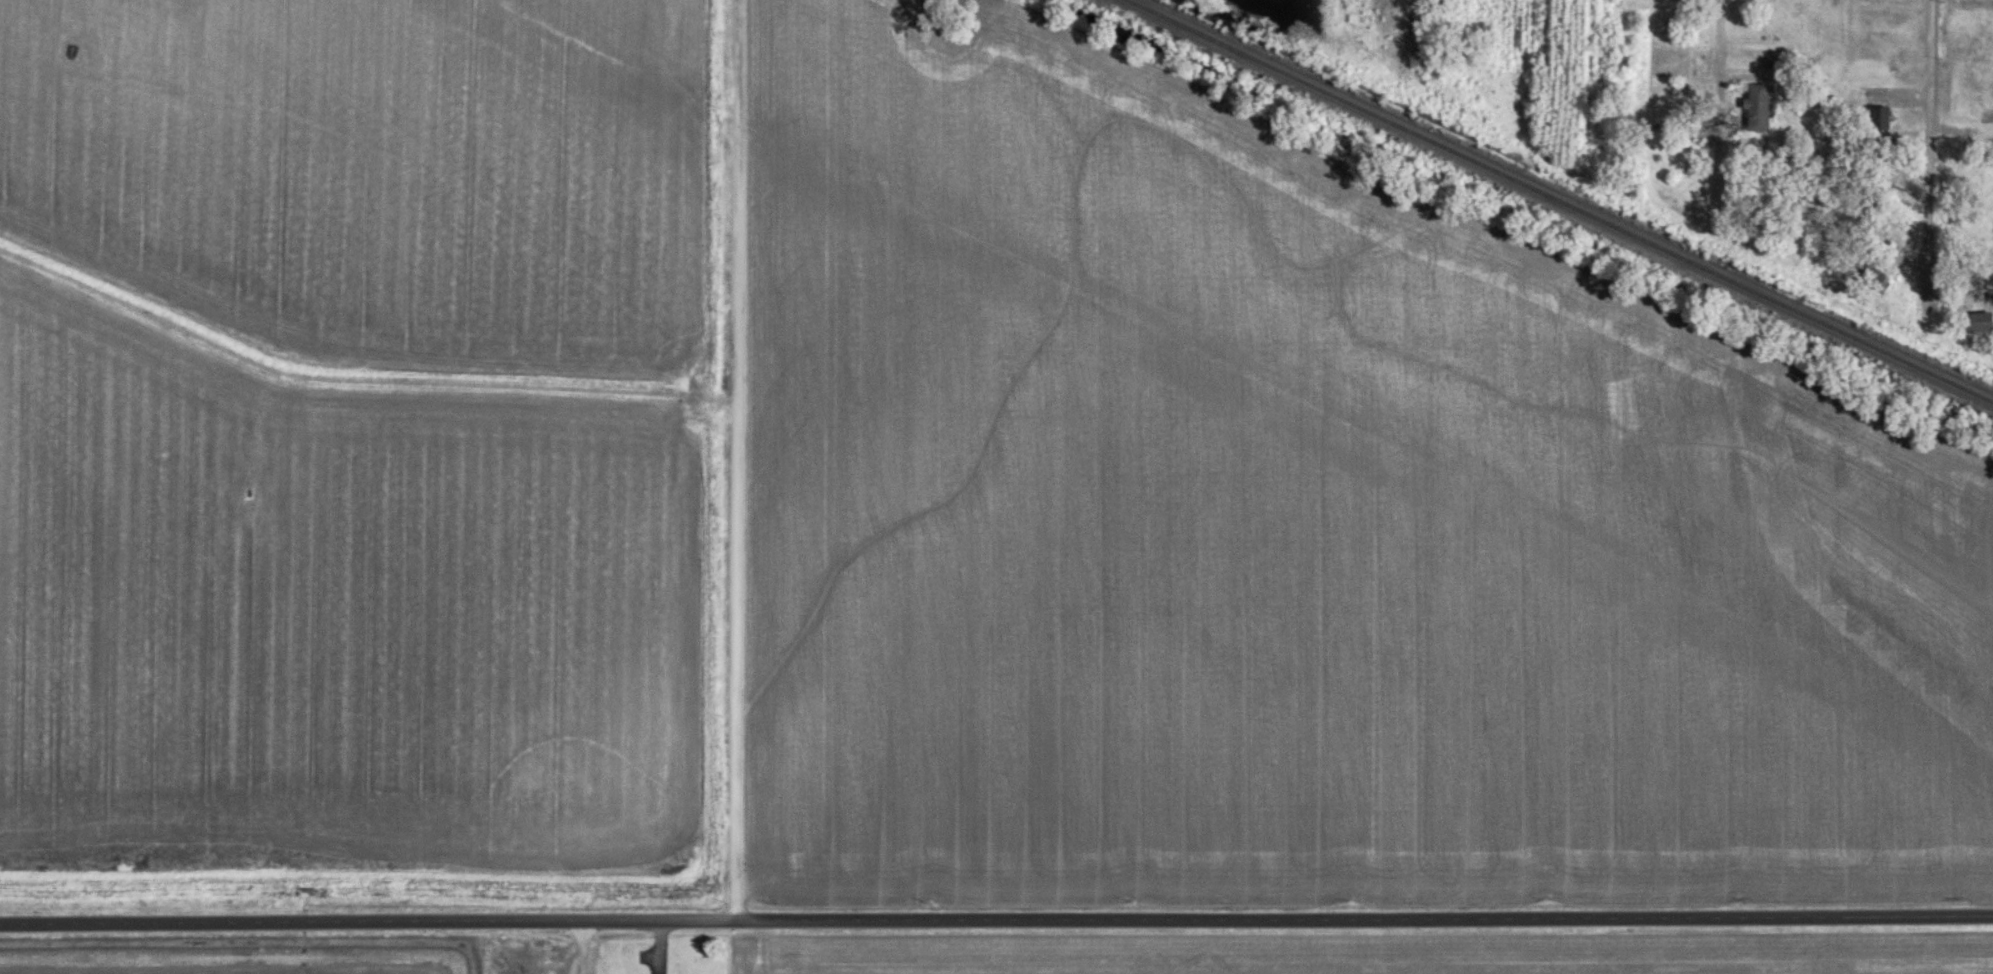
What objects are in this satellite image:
road: (1715, 86)
road: (1928, 137)
railway: (1560, 201)
road: (735, 460)
road: (996, 919)
road: (579, 946)

